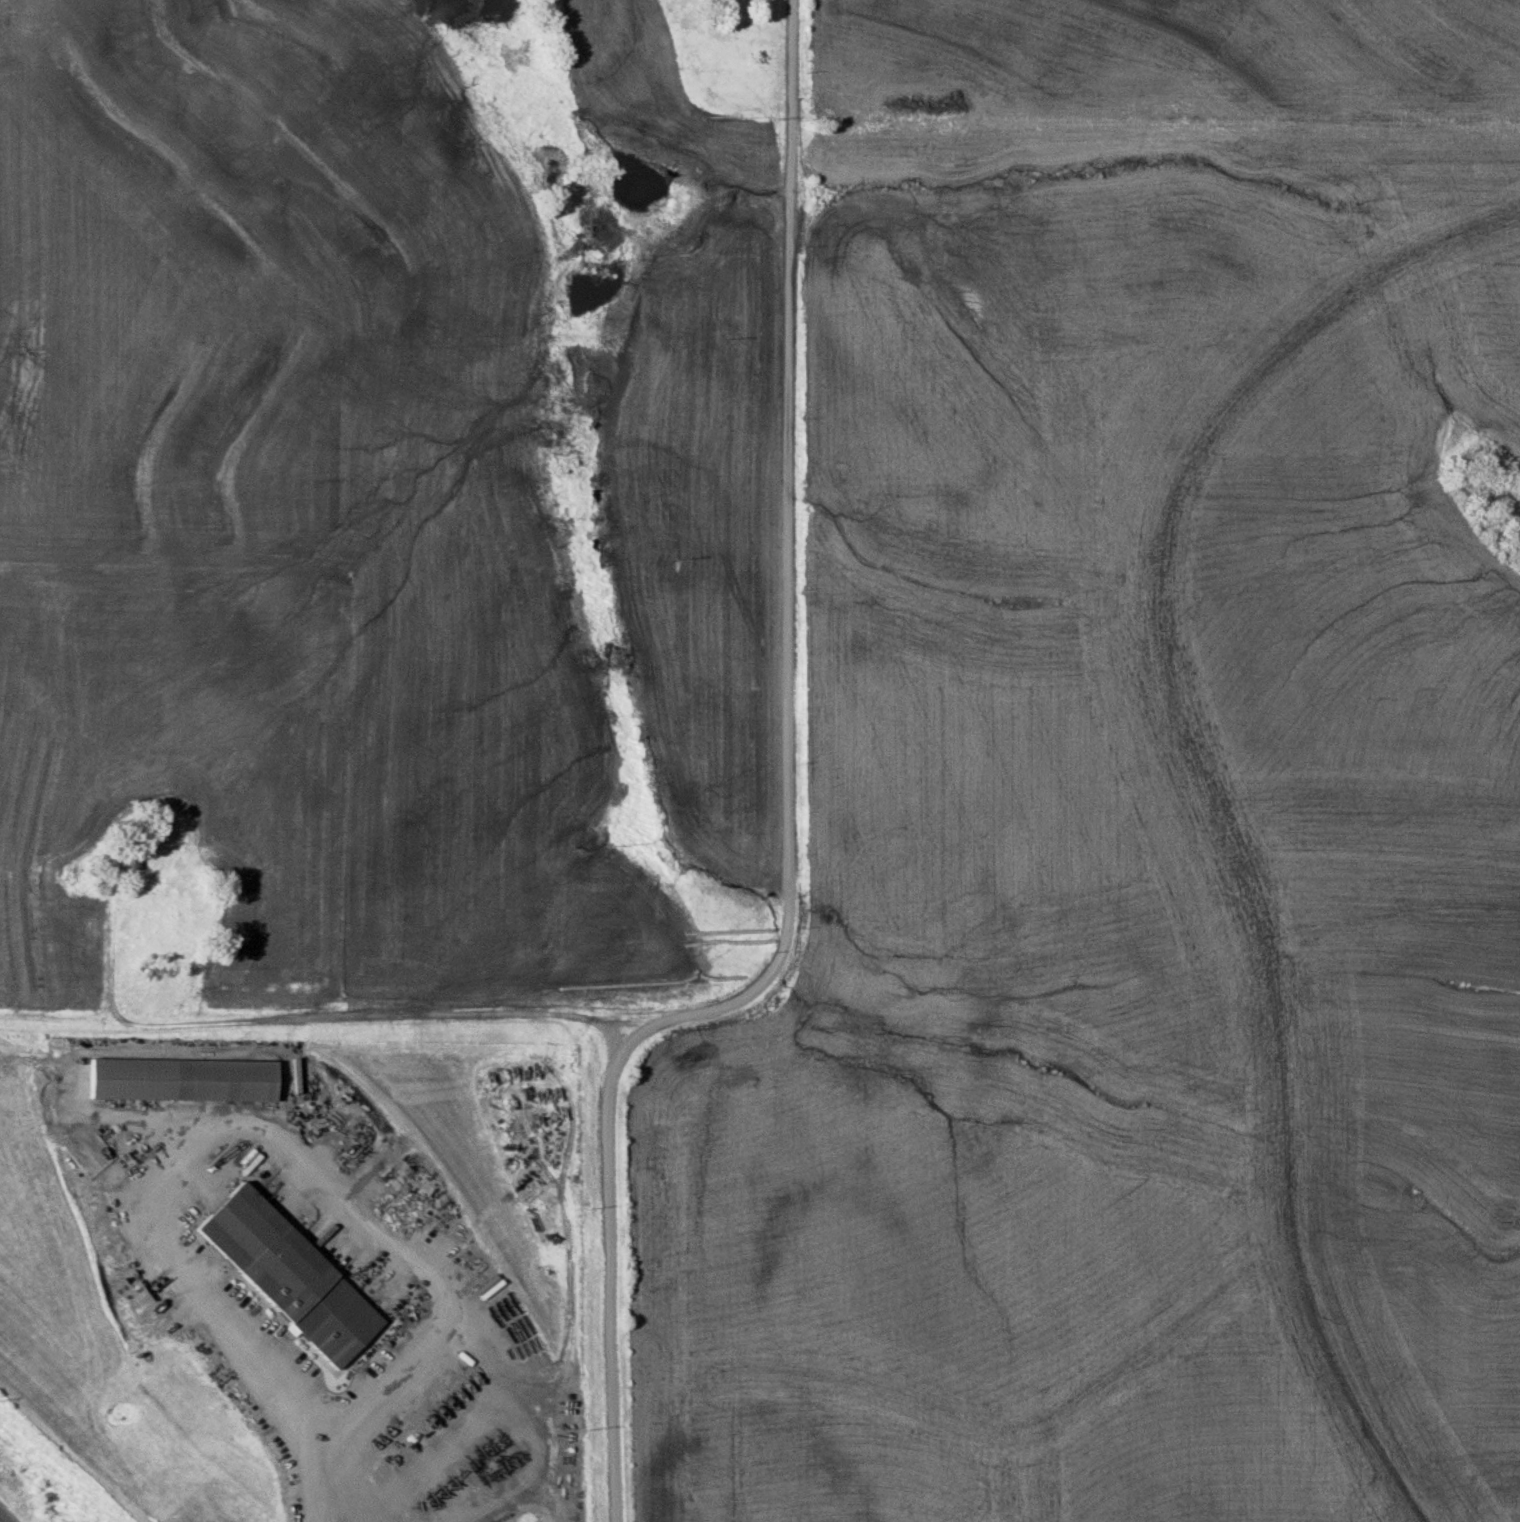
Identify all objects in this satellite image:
road: (790, 813)
building: (129, 854)
road: (318, 1017)
building: (176, 1079)
road: (220, 1166)
building: (283, 1275)
road: (300, 1485)
road: (4, 1516)

